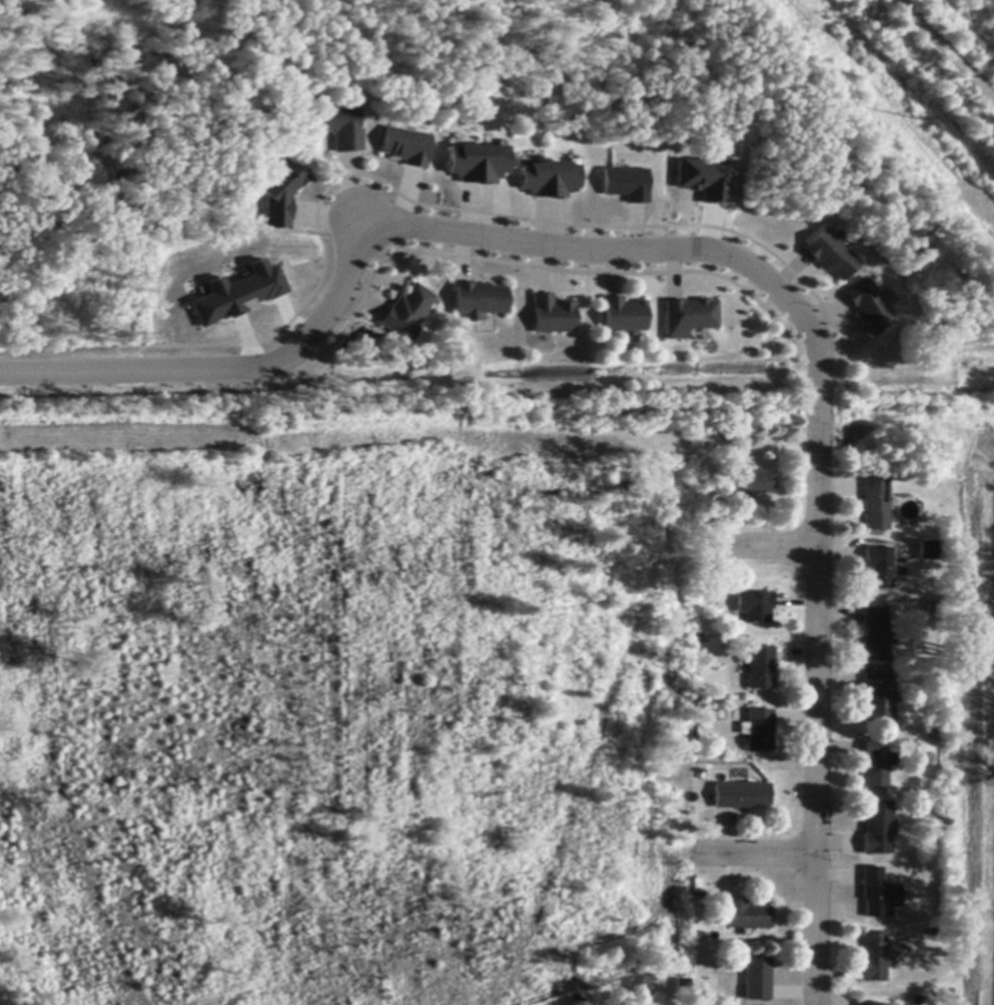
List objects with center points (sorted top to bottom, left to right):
road: (944, 51)
power tower: (916, 117)
building: (339, 129)
building: (404, 147)
building: (476, 164)
building: (703, 178)
building: (548, 180)
building: (623, 183)
building: (279, 191)
road: (712, 252)
building: (829, 254)
building: (238, 292)
building: (478, 300)
building: (868, 306)
building: (405, 312)
building: (552, 315)
building: (690, 315)
building: (623, 316)
building: (750, 485)
building: (877, 504)
road: (757, 544)
building: (927, 549)
building: (879, 567)
building: (754, 607)
building: (875, 635)
building: (760, 669)
building: (878, 699)
building: (757, 731)
building: (876, 763)
building: (740, 797)
building: (876, 830)
road: (752, 855)
building: (877, 894)
building: (745, 916)
building: (872, 958)
building: (755, 980)
building: (682, 985)
building: (872, 1004)

